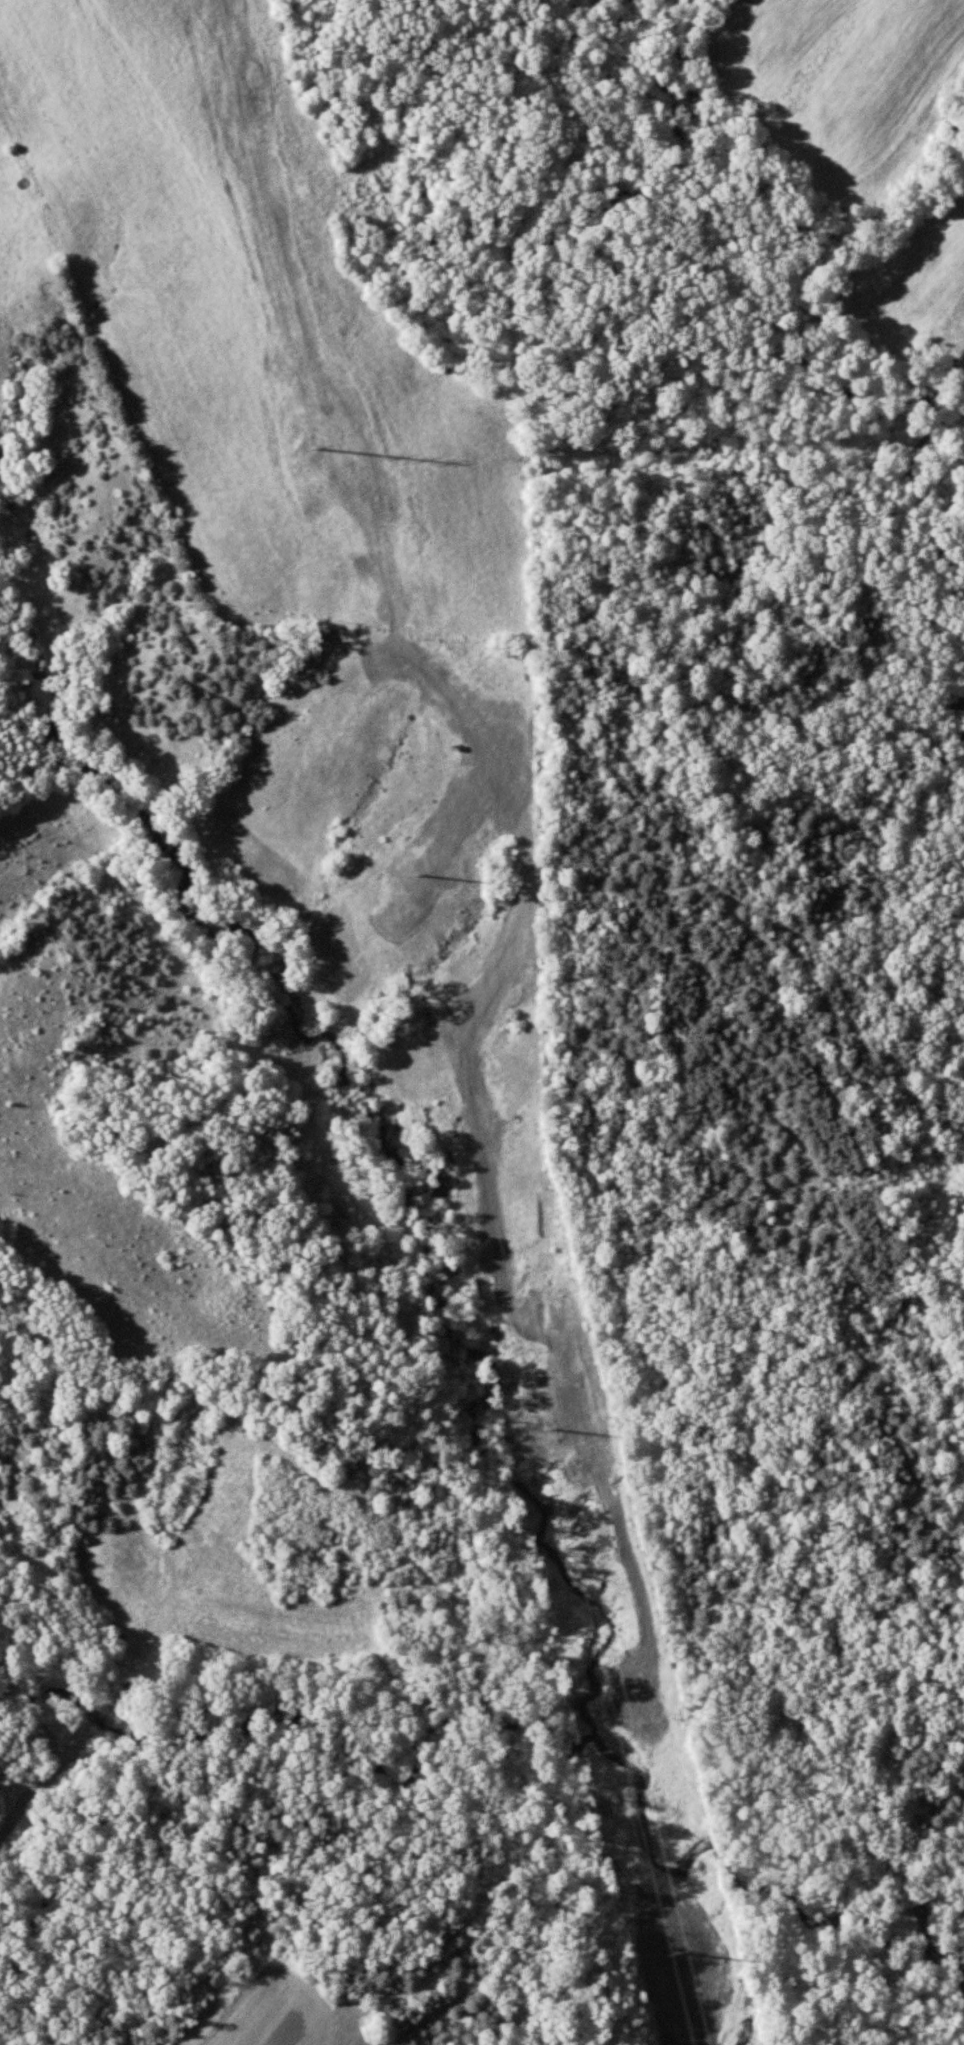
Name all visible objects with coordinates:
power tower: (311, 443)
power tower: (418, 876)
power tower: (552, 1424)
power tower: (671, 1951)

